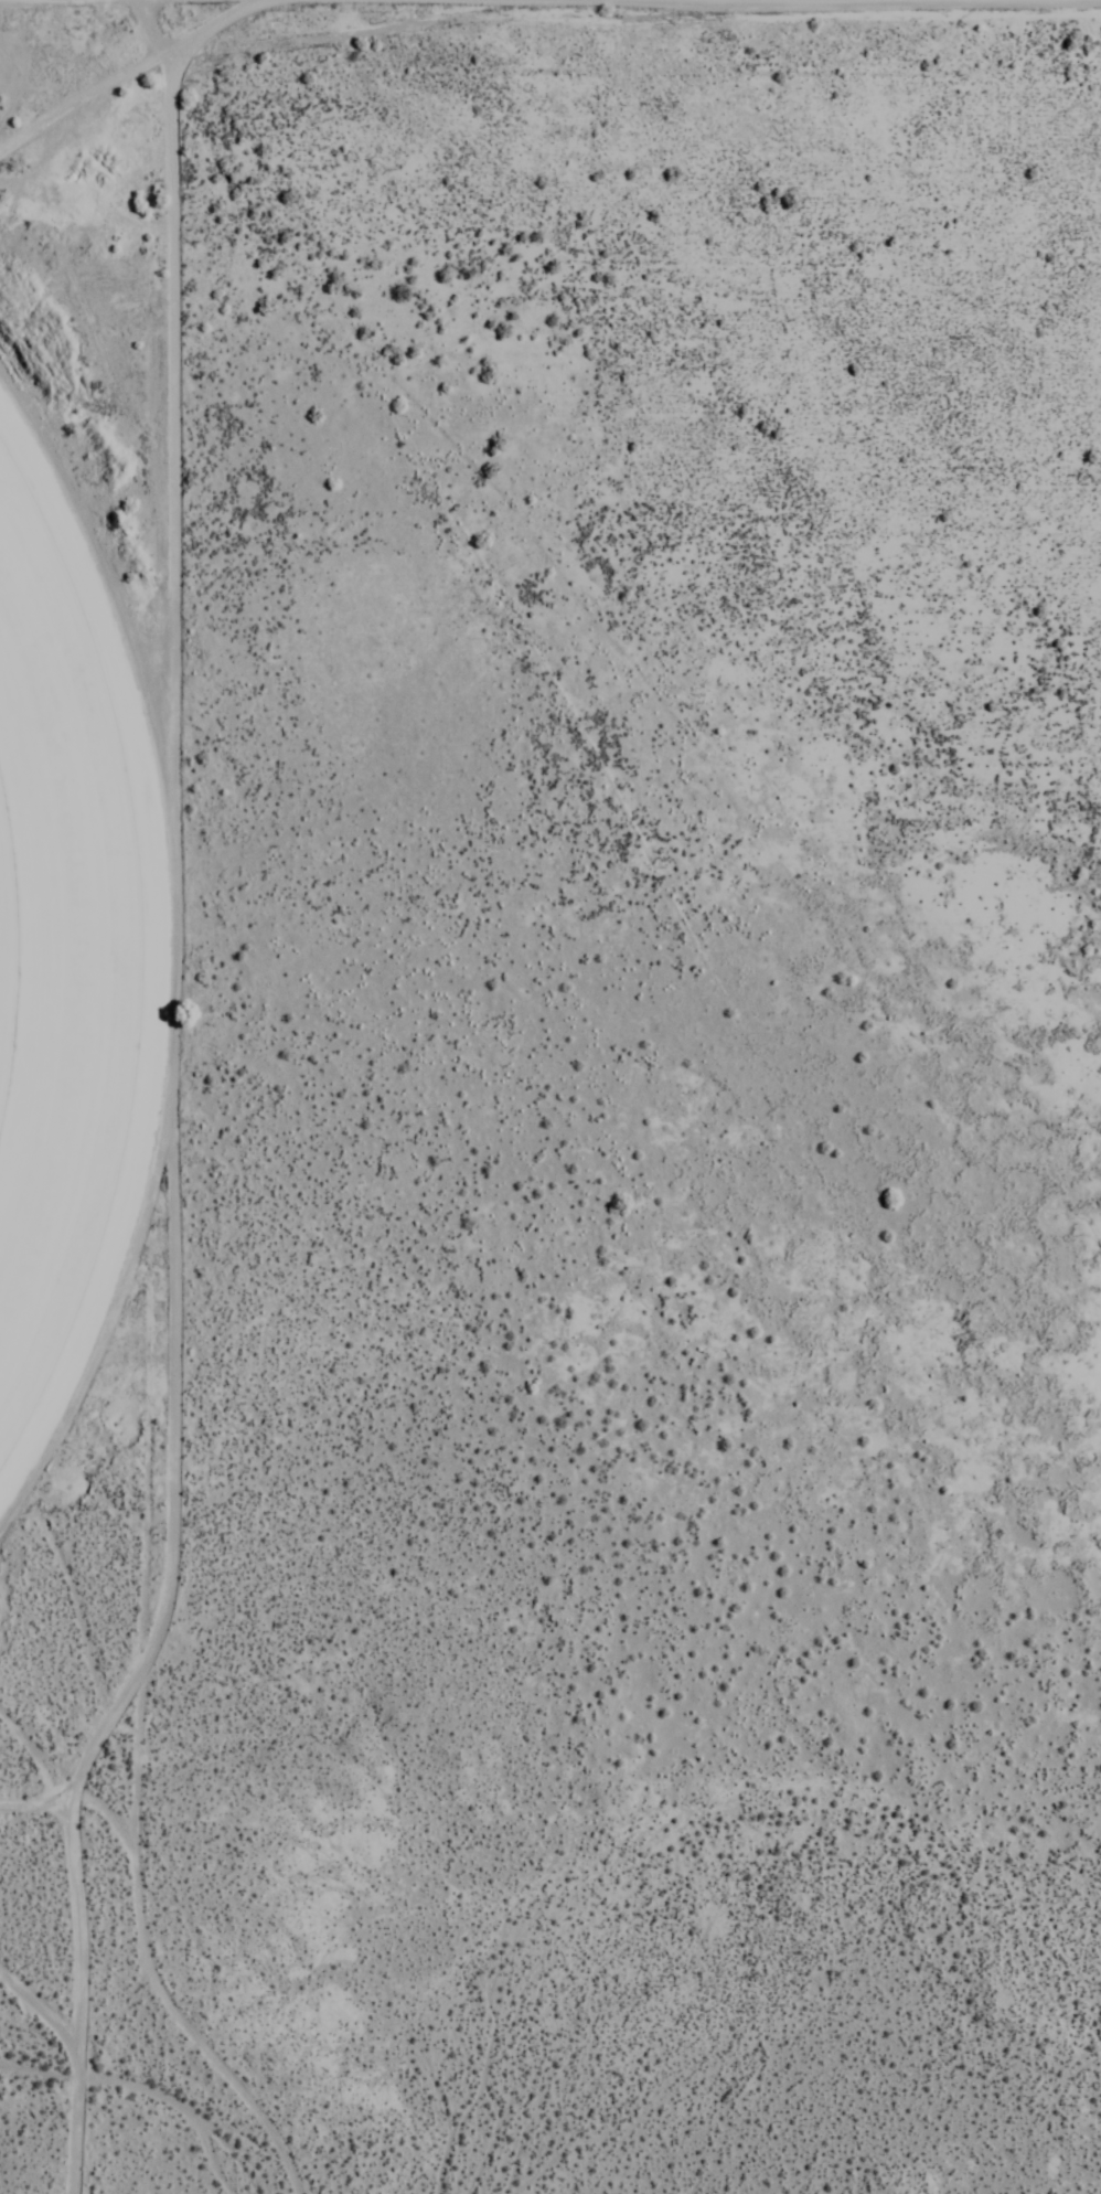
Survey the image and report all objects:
road: (174, 918)
crop: (60, 952)
road: (172, 1993)
road: (72, 2007)

